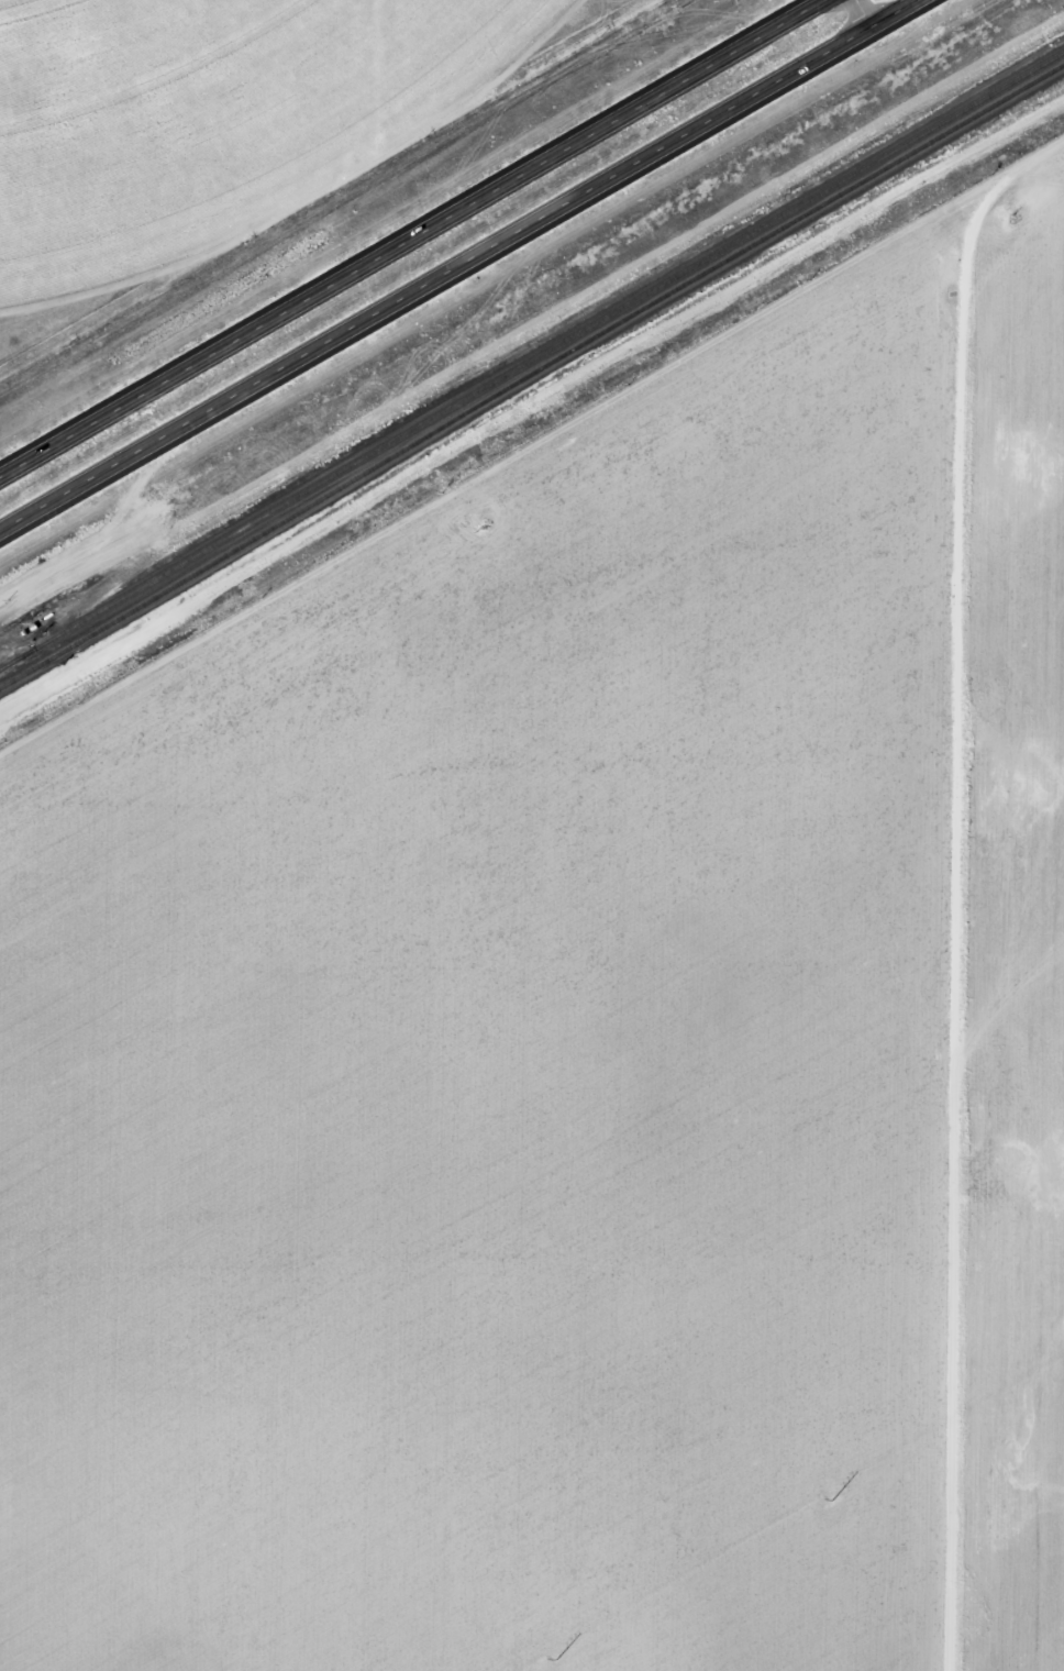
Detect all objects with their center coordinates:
road: (410, 237)
road: (465, 269)
railway: (532, 362)
railway: (530, 374)
power tower: (831, 1493)
power tower: (534, 1667)

